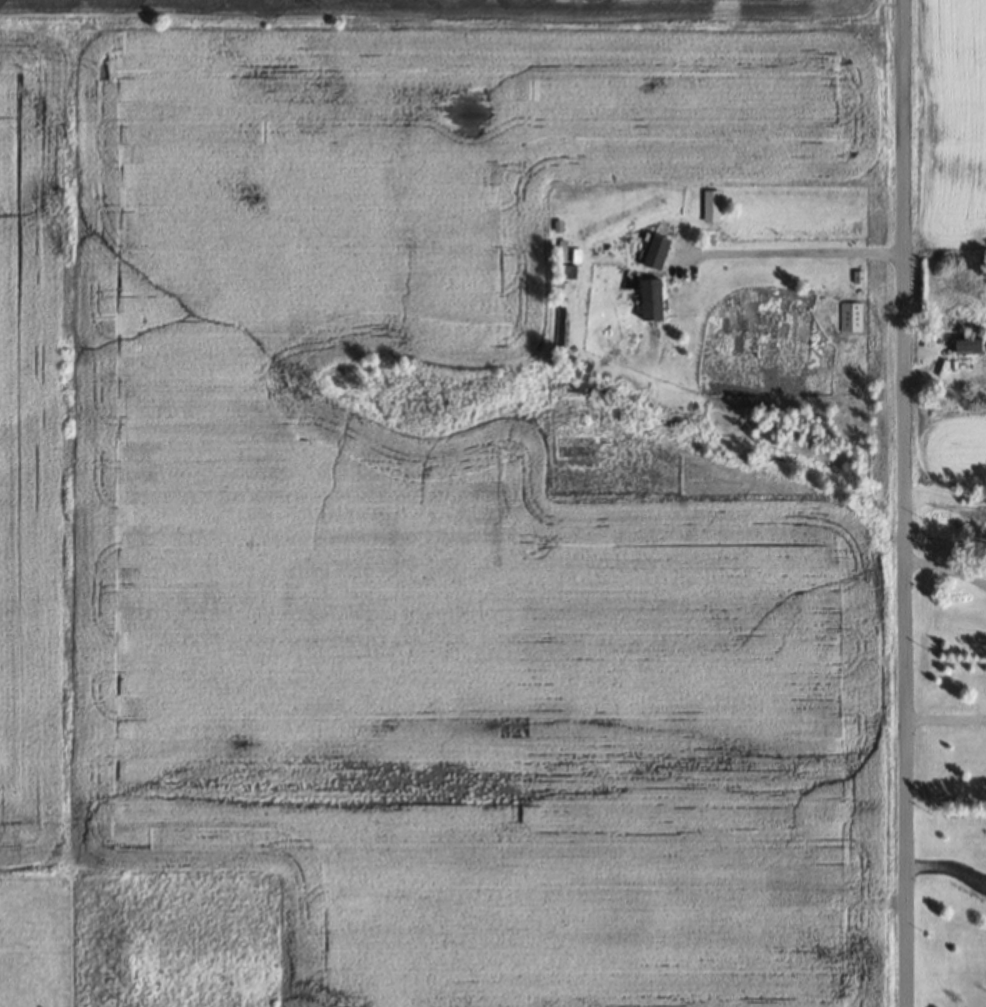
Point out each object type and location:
building: (541, 224)
building: (655, 251)
building: (649, 298)
building: (965, 346)
road: (906, 503)
road: (947, 569)
road: (947, 718)

